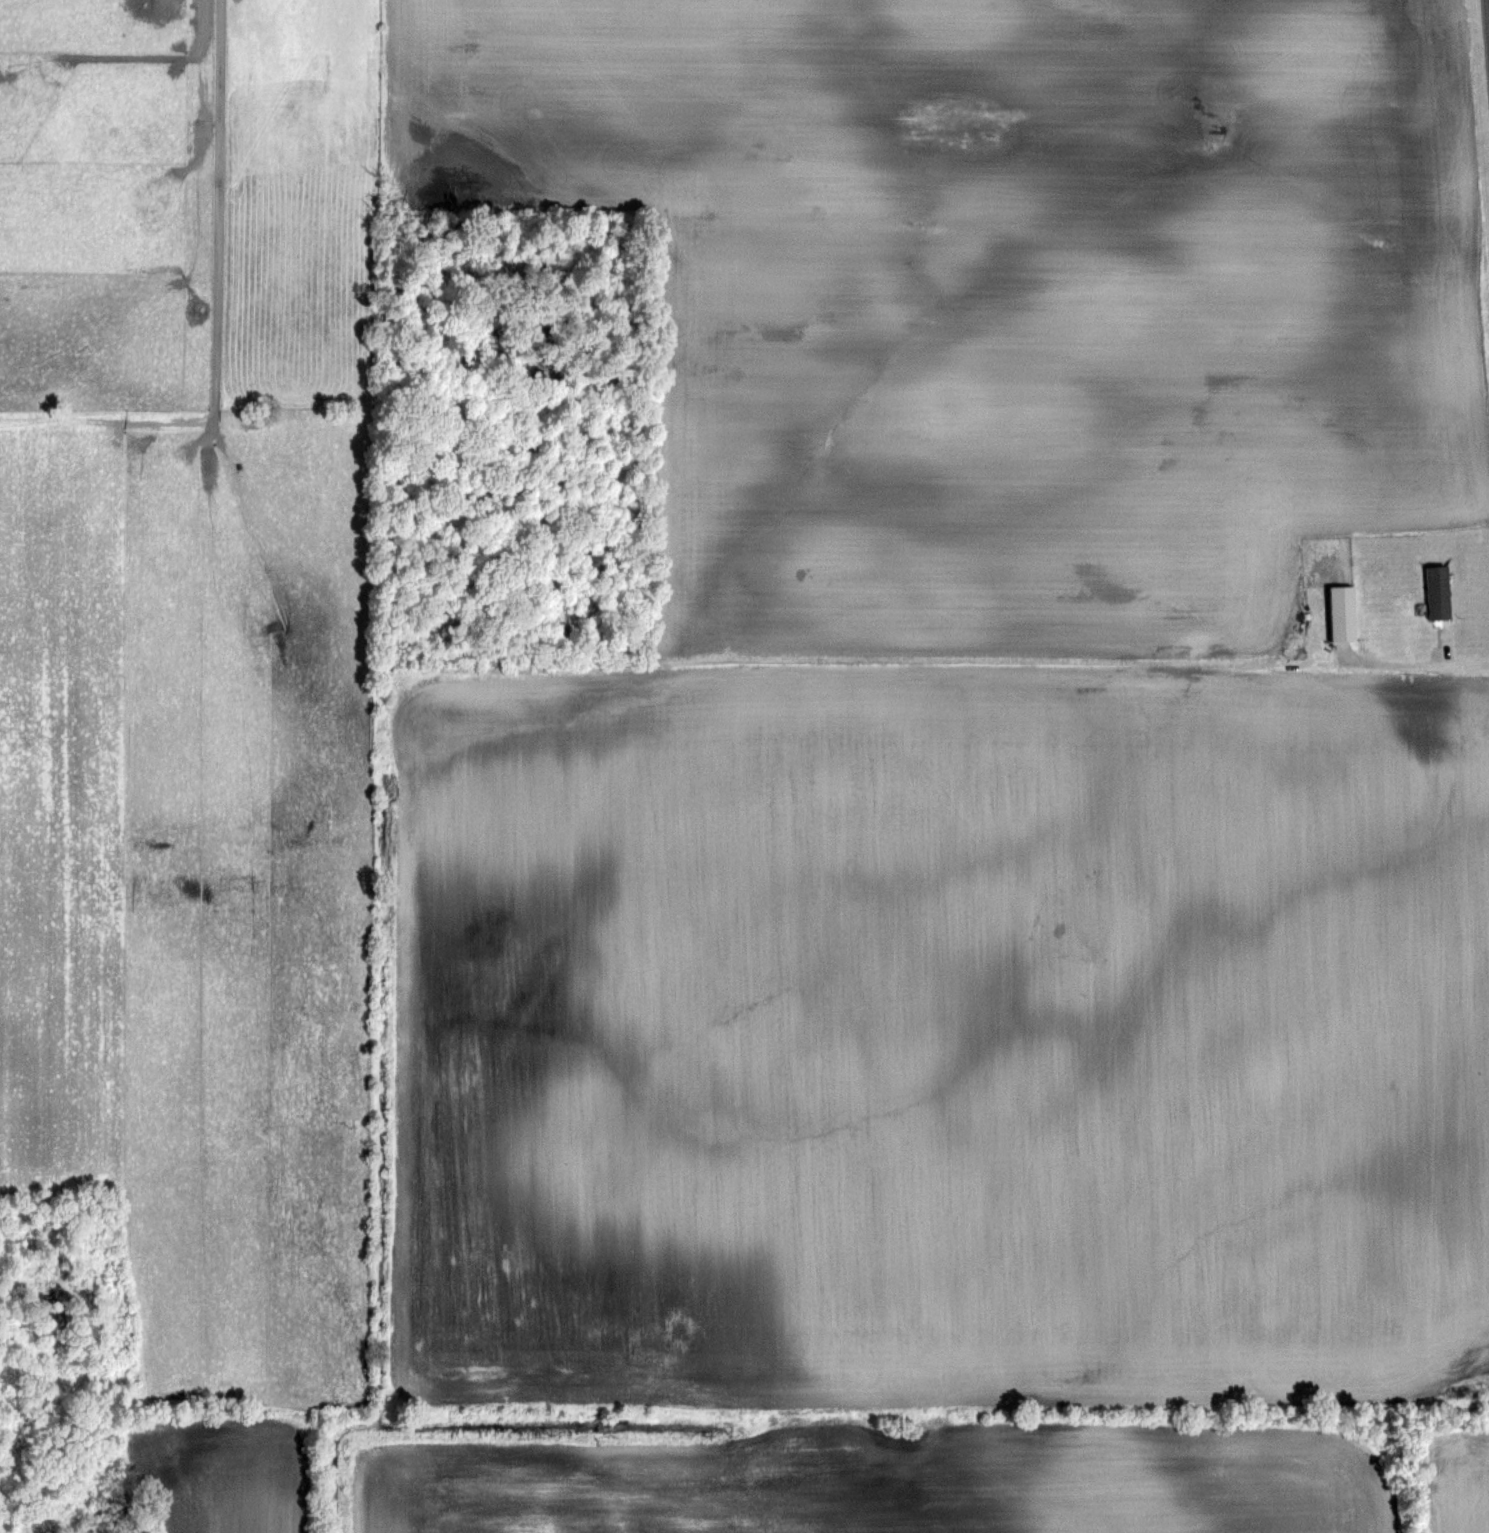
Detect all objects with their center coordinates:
building: (1437, 591)
building: (1338, 642)
road: (1467, 665)

